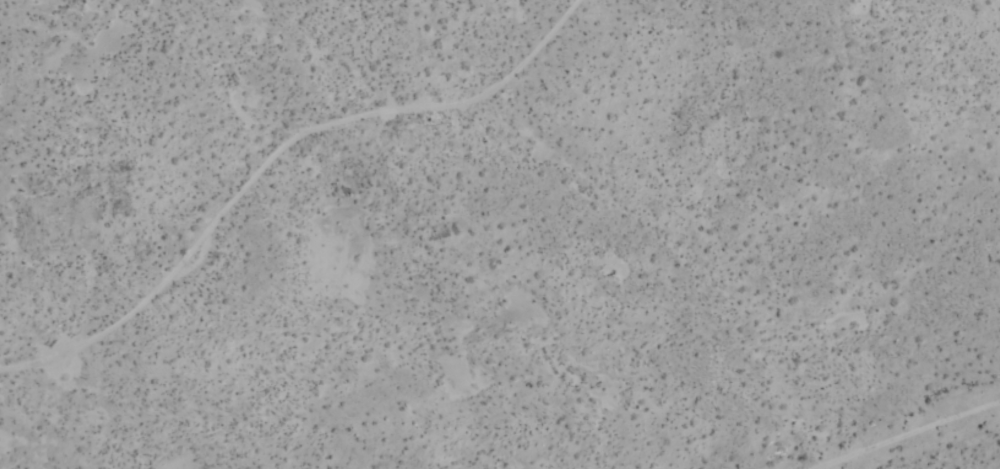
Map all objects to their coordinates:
road: (272, 155)

